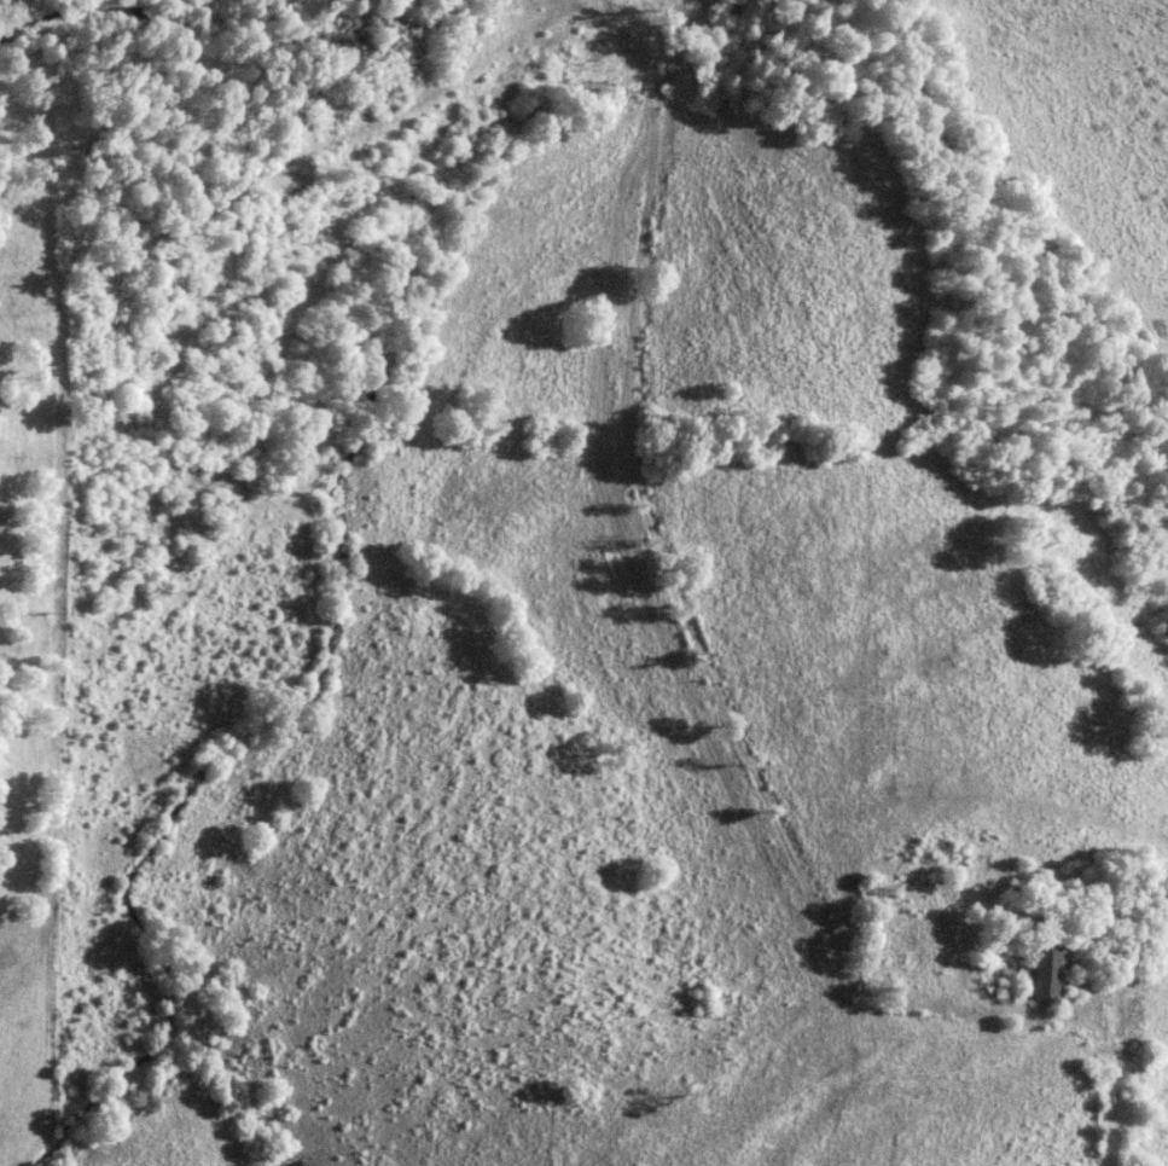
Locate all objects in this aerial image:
road: (638, 493)
building: (1050, 969)

